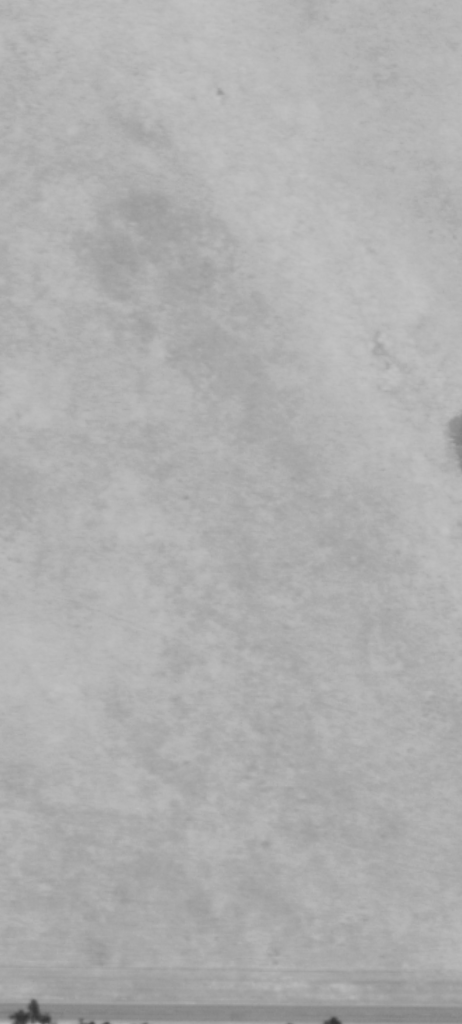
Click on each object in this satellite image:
road: (231, 1011)

